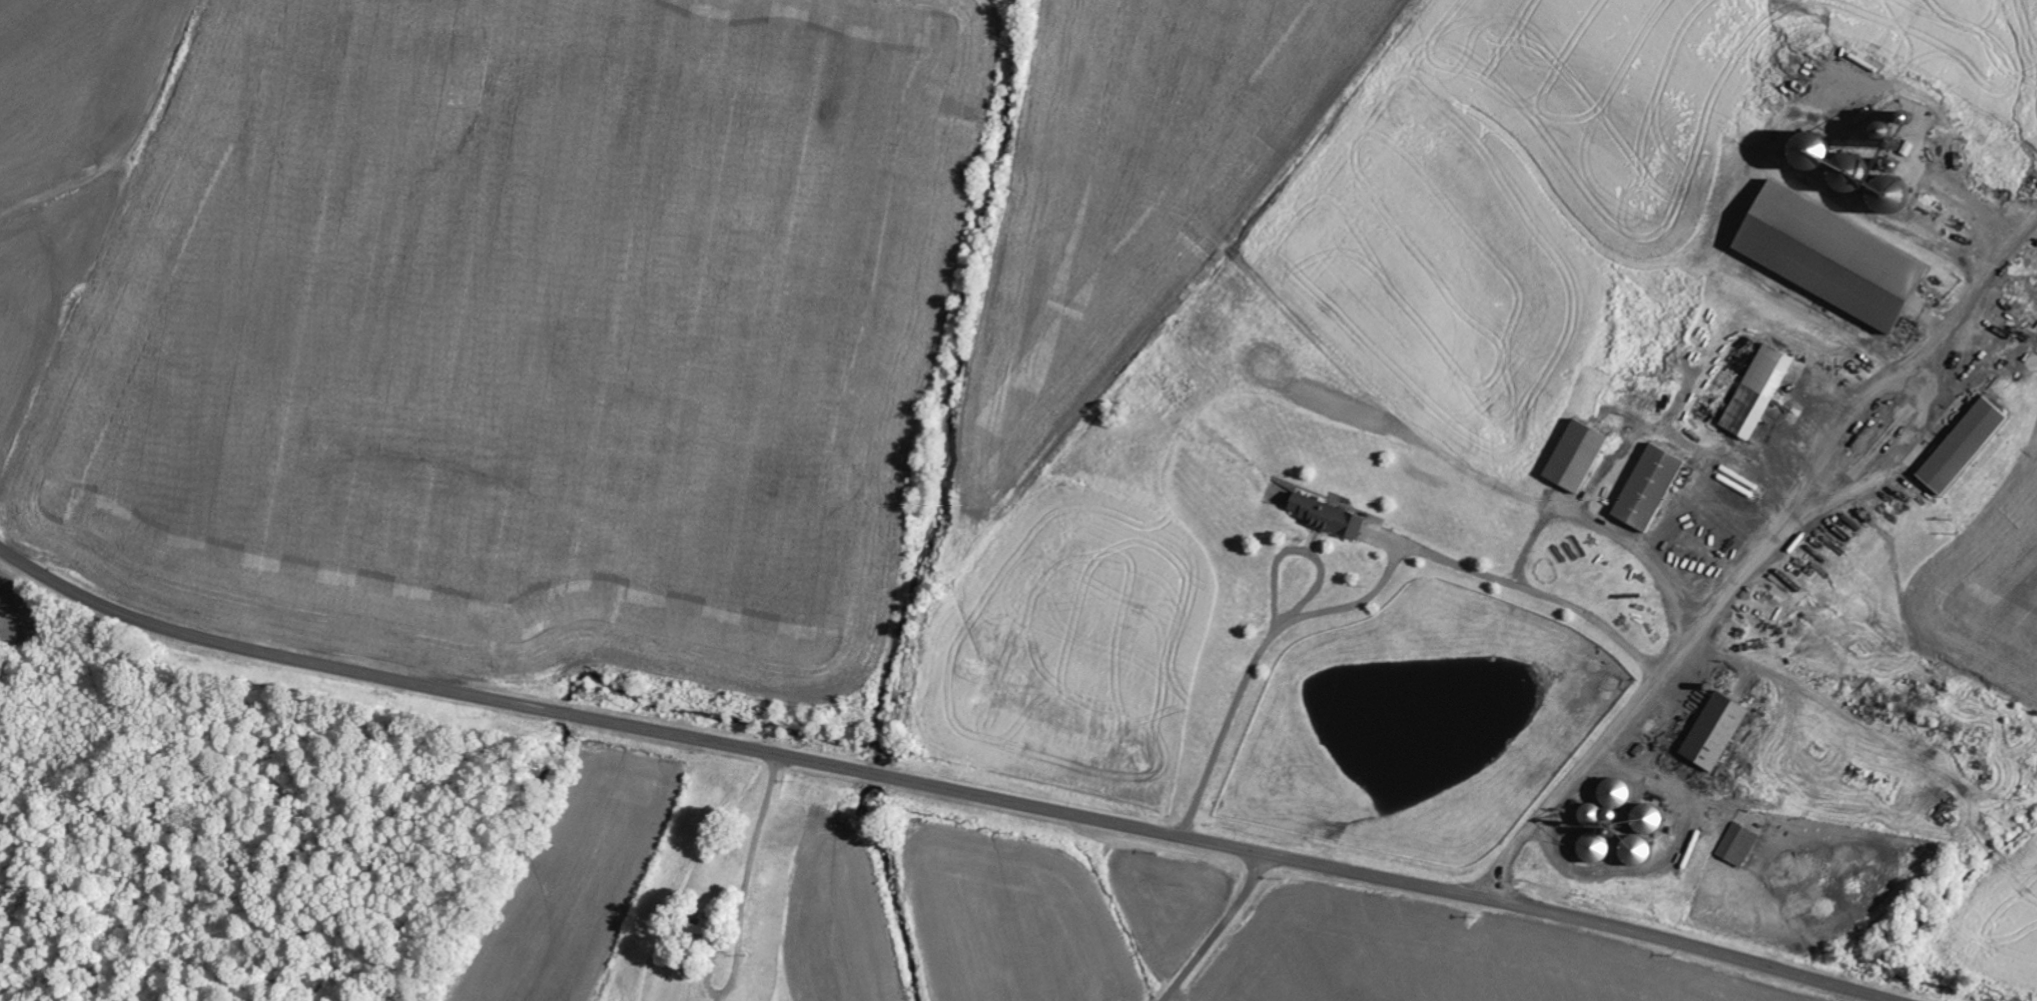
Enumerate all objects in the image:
building: (1840, 257)
building: (1763, 390)
building: (1969, 445)
building: (1581, 455)
building: (1654, 486)
building: (1333, 516)
road: (1746, 555)
building: (1721, 731)
road: (941, 788)
building: (1622, 793)
building: (1600, 815)
building: (1652, 835)
building: (1742, 844)
building: (1603, 848)
road: (1220, 929)

